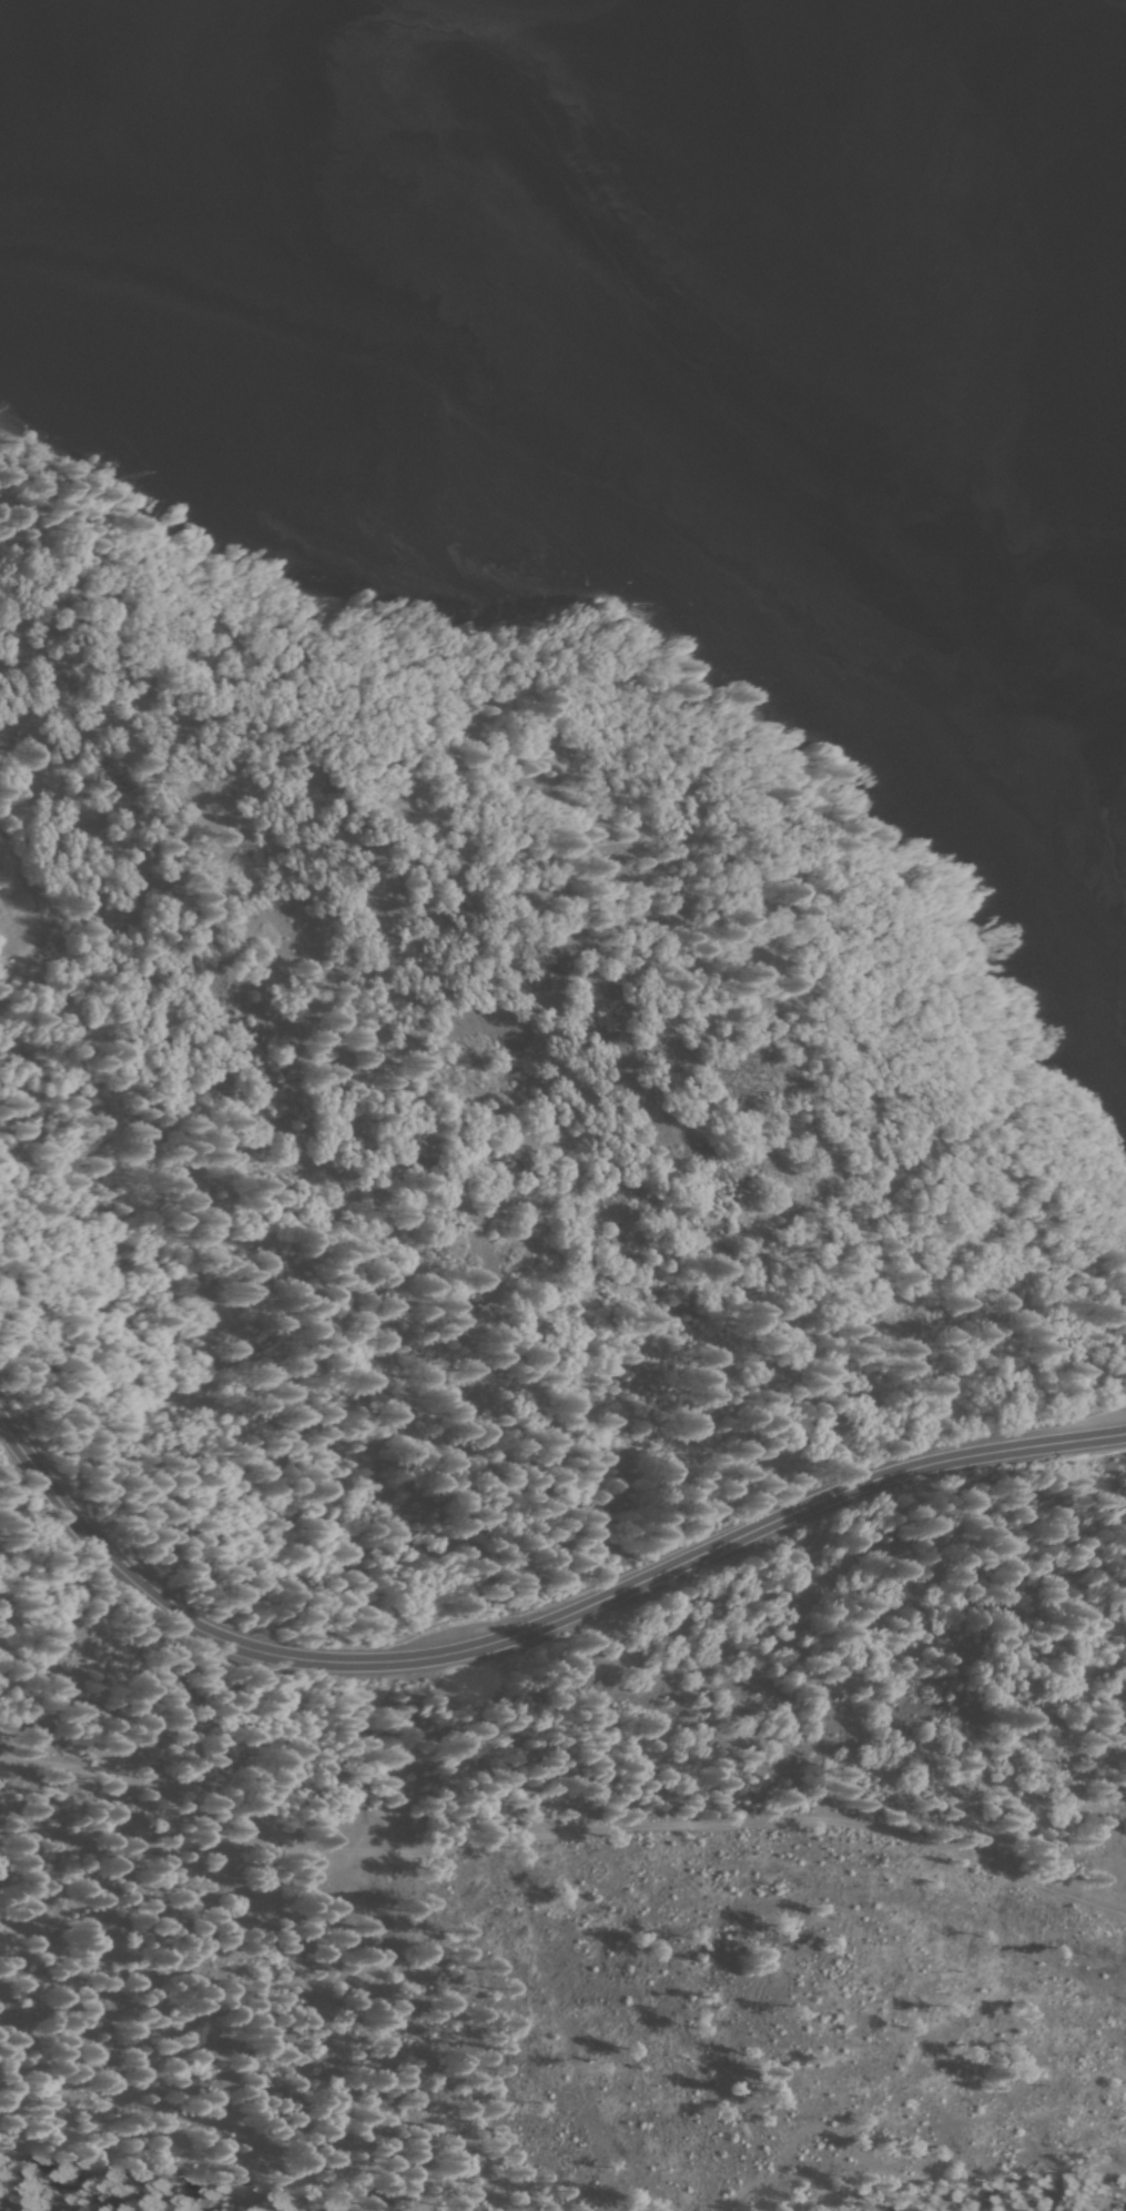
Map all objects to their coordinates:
river: (602, 302)
road: (537, 1628)
road: (560, 1821)

